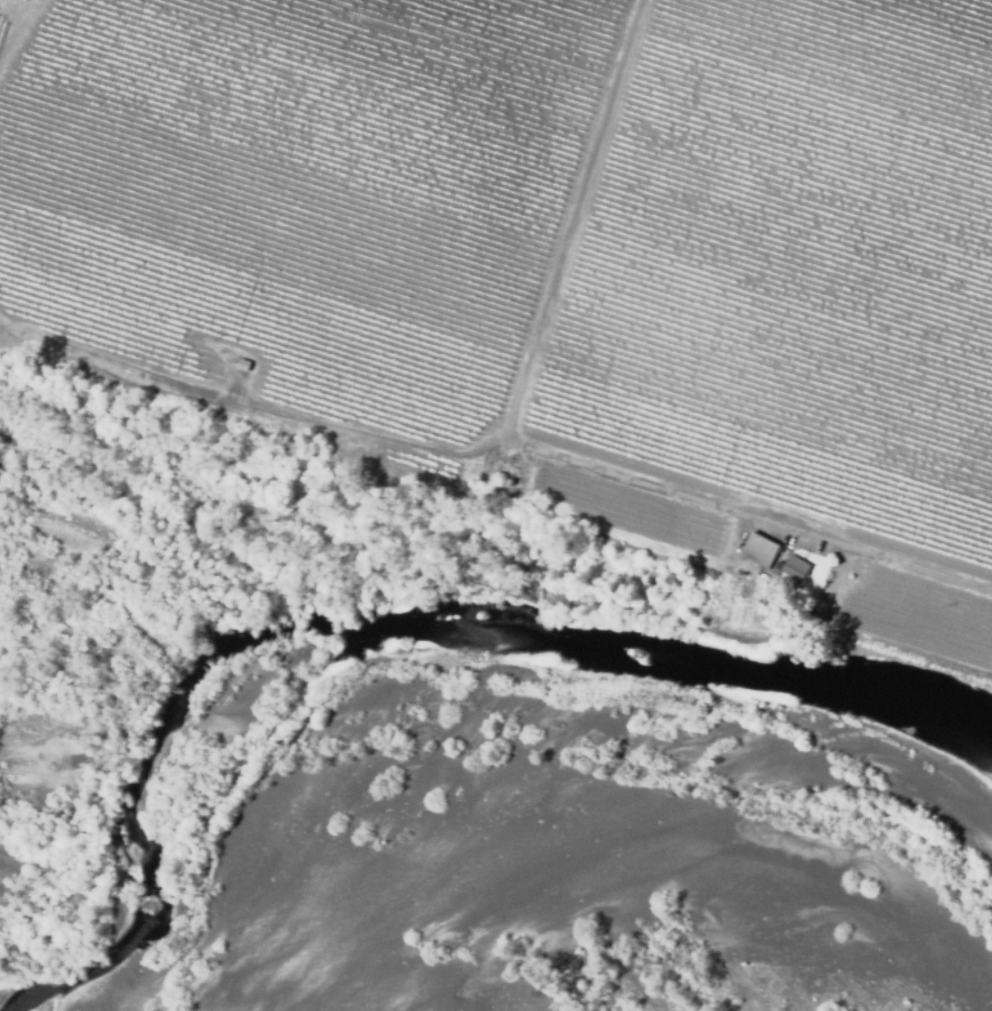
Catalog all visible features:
building: (244, 367)
road: (616, 475)
building: (509, 481)
building: (759, 550)
building: (794, 569)
river: (523, 813)

